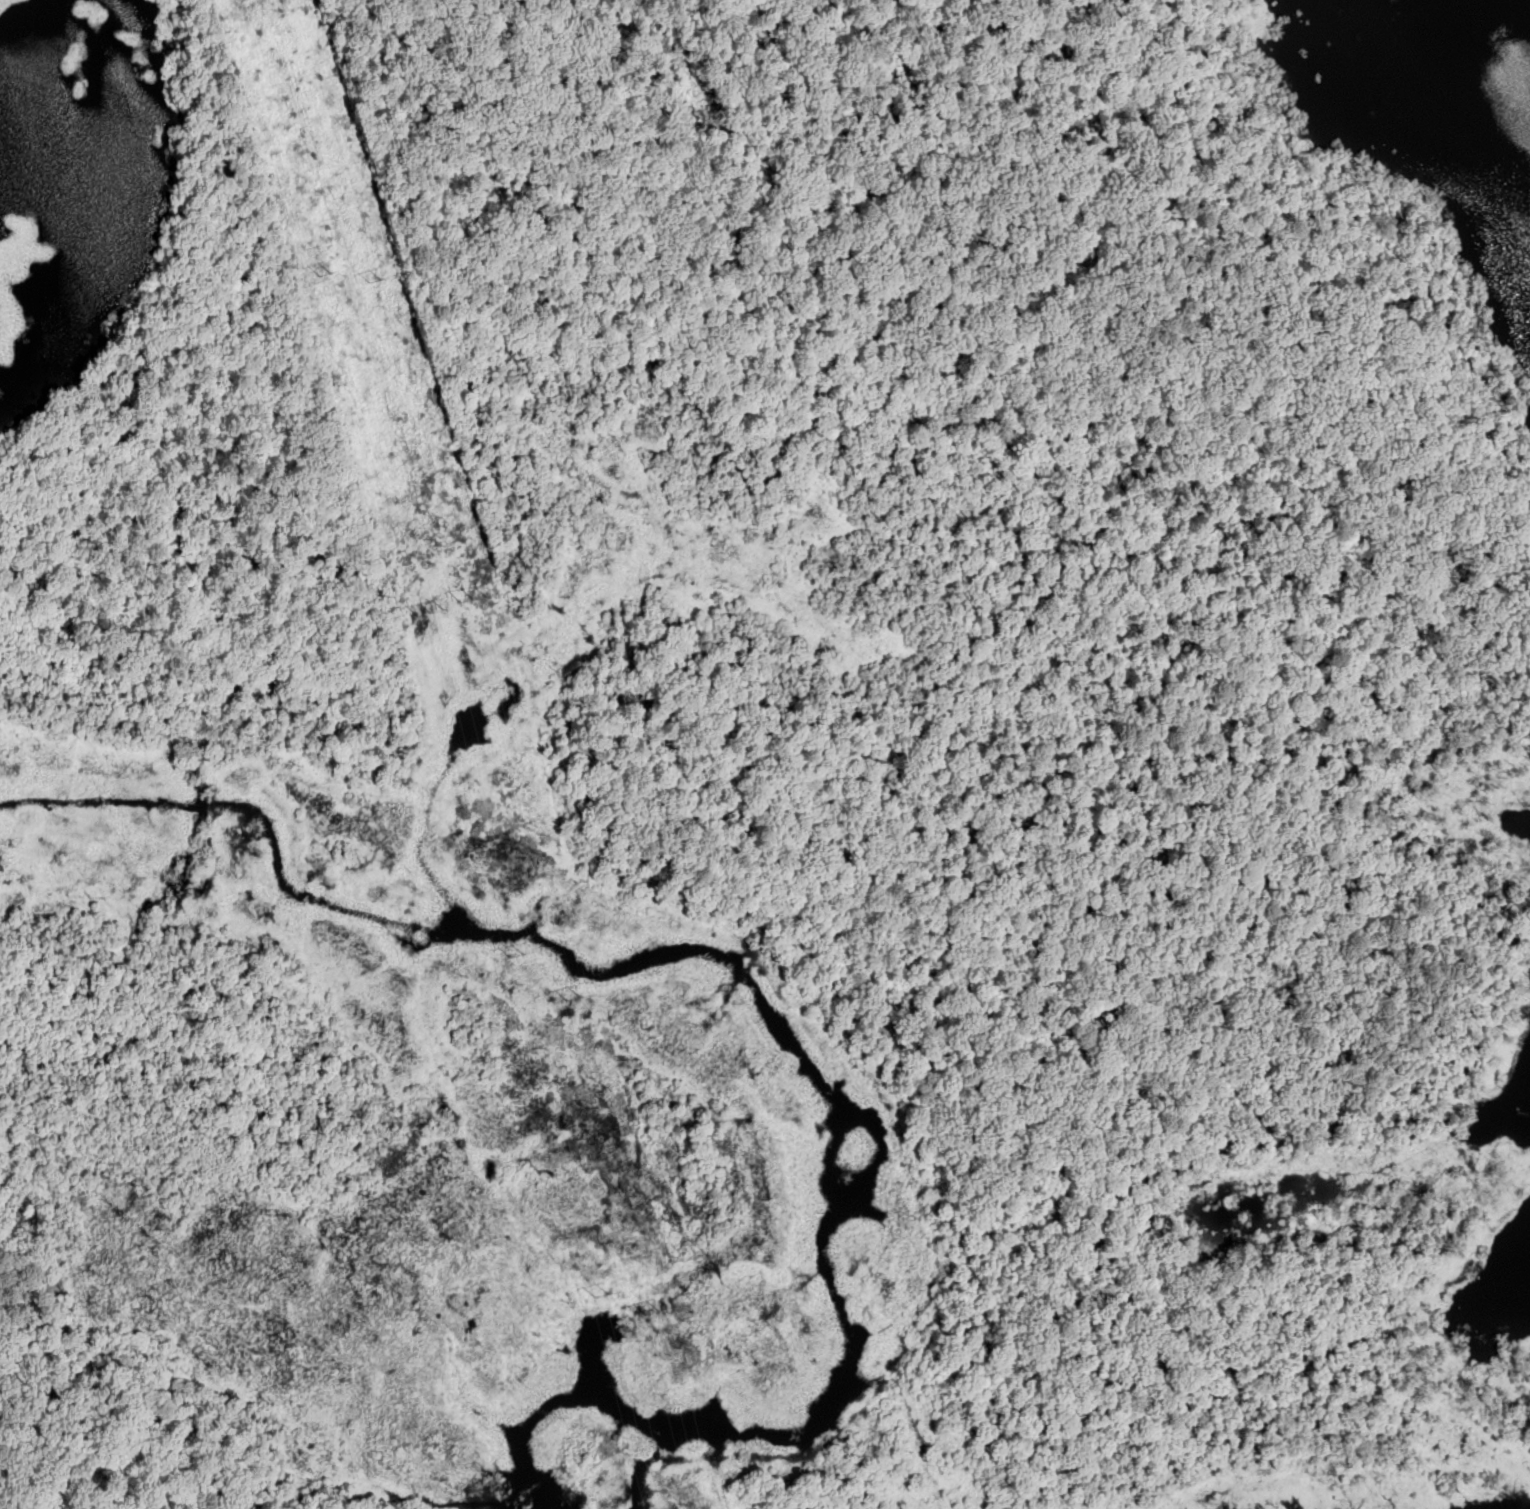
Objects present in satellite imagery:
power tower: (325, 275)
power tower: (369, 281)
power tower: (473, 600)
power tower: (429, 614)
power tower: (515, 958)
power tower: (570, 1004)
power tower: (600, 1299)
power tower: (652, 1317)

